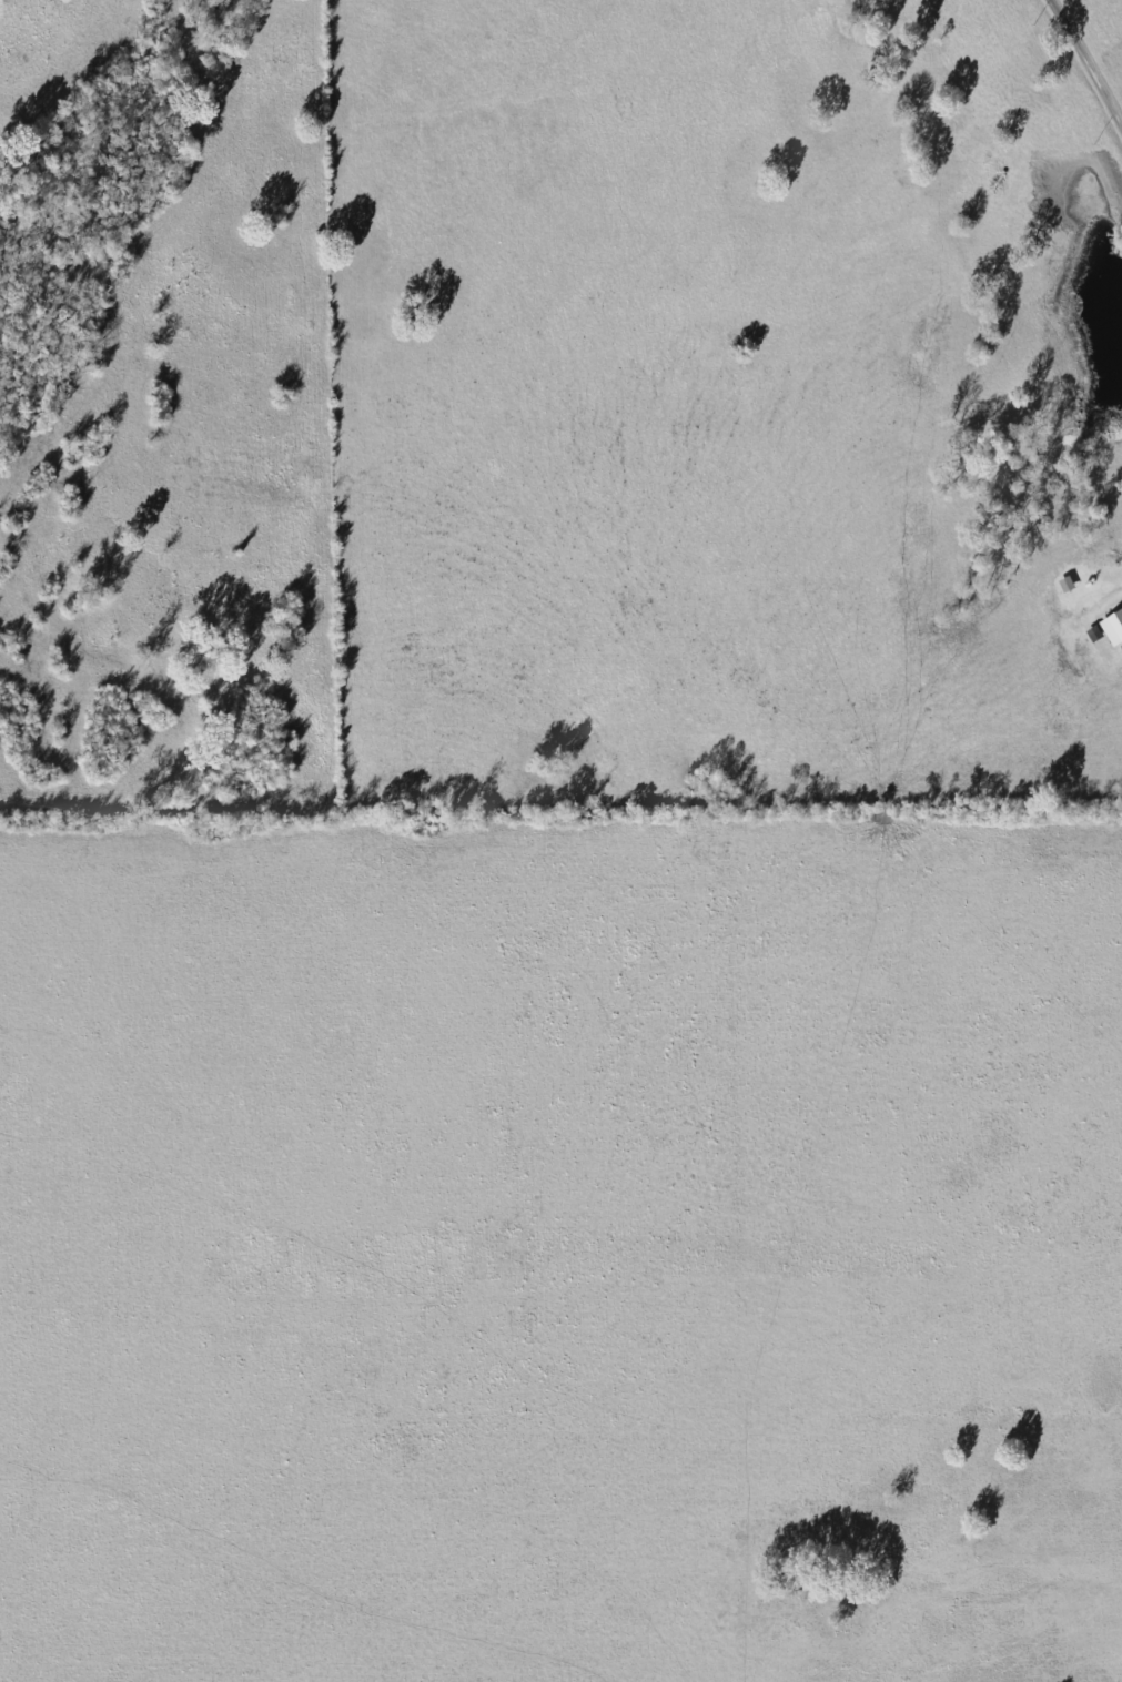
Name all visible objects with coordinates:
road: (1085, 62)
building: (1116, 629)

